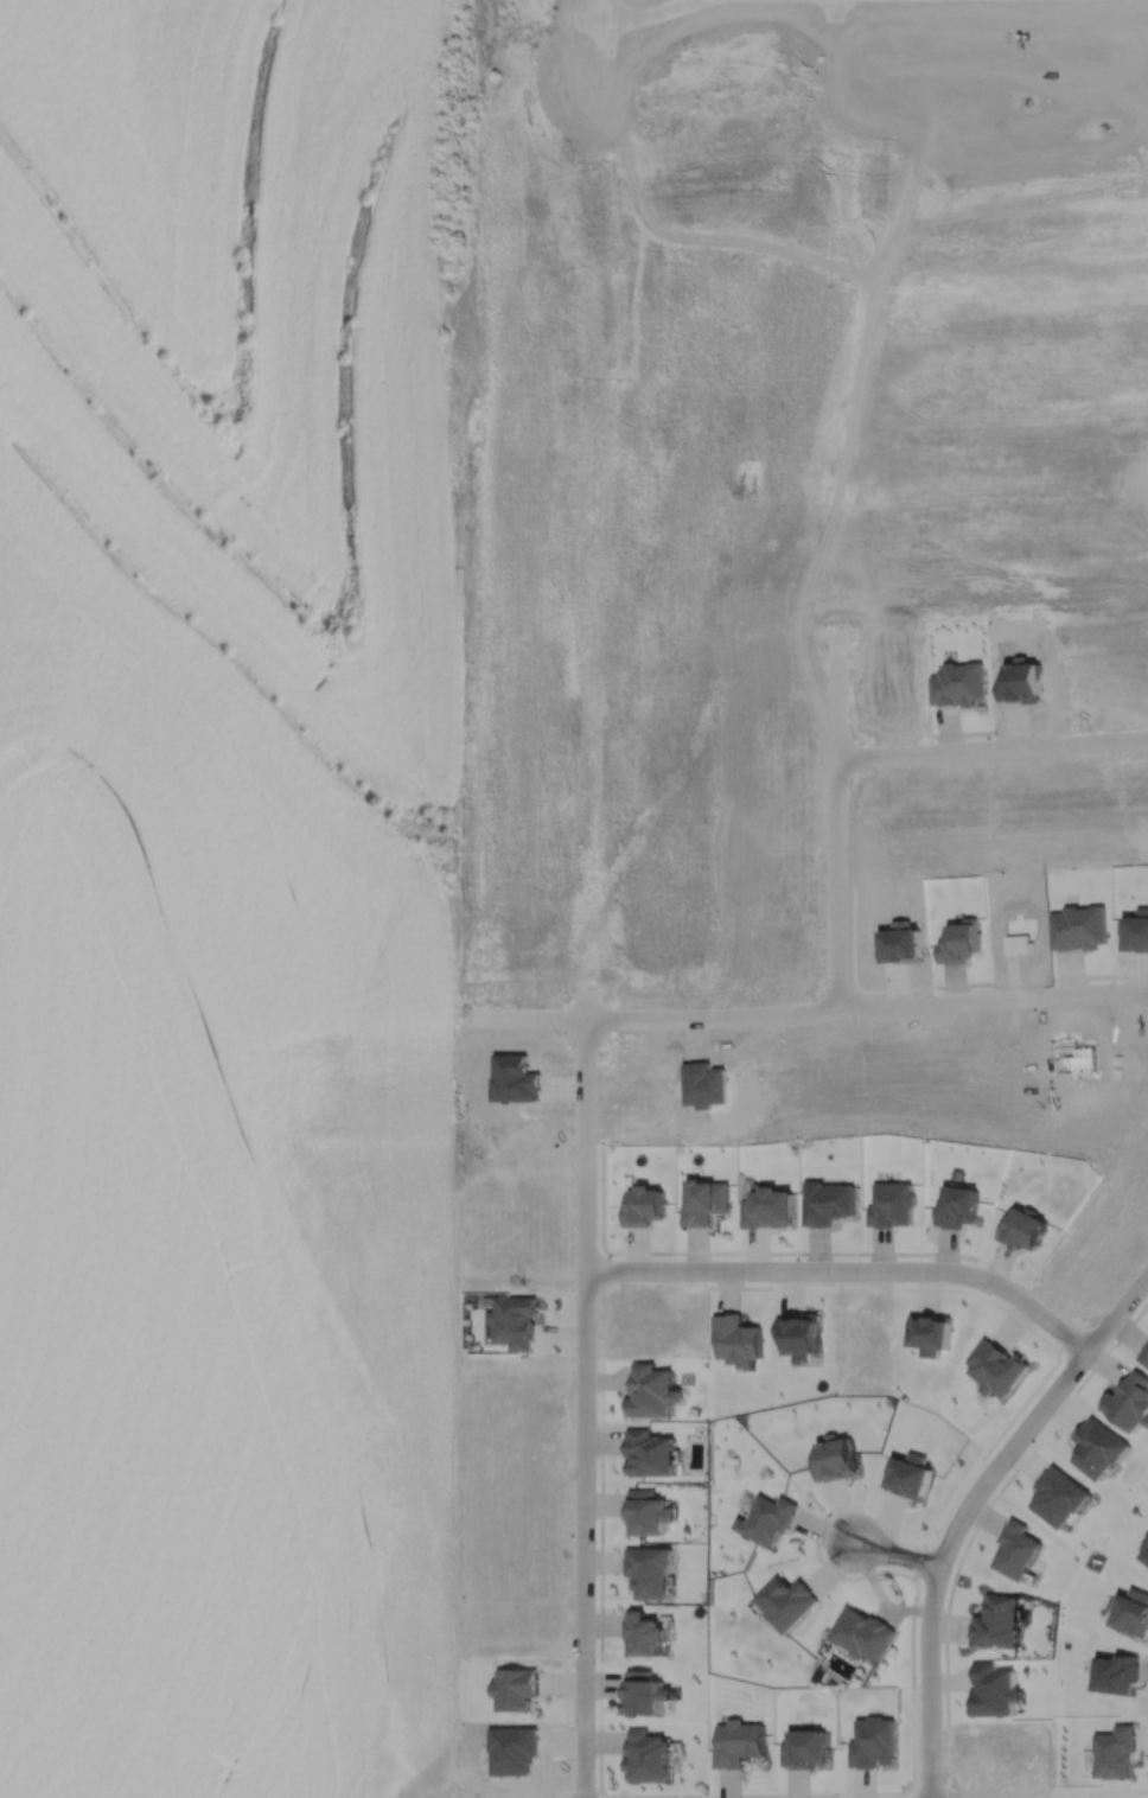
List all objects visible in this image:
road: (602, 8)
road: (643, 11)
road: (994, 750)
road: (841, 818)
crop: (223, 899)
road: (808, 1007)
building: (704, 1203)
building: (828, 1203)
building: (893, 1205)
building: (644, 1207)
building: (959, 1207)
building: (768, 1209)
building: (1023, 1229)
road: (765, 1252)
road: (847, 1270)
building: (515, 1320)
building: (801, 1333)
building: (736, 1339)
building: (1143, 1354)
building: (996, 1367)
building: (650, 1391)
building: (1129, 1402)
road: (583, 1405)
building: (648, 1453)
building: (834, 1458)
building: (908, 1474)
road: (965, 1507)
building: (645, 1512)
building: (765, 1519)
building: (1147, 1542)
building: (1016, 1549)
building: (1146, 1551)
road: (895, 1552)
road: (919, 1560)
building: (648, 1571)
building: (785, 1601)
building: (1131, 1609)
building: (997, 1621)
building: (861, 1634)
building: (642, 1636)
building: (1116, 1670)
building: (515, 1688)
building: (646, 1690)
building: (993, 1692)
building: (739, 1741)
building: (872, 1741)
building: (808, 1747)
building: (1115, 1749)
building: (649, 1753)
road: (1098, 1790)
road: (831, 1793)

